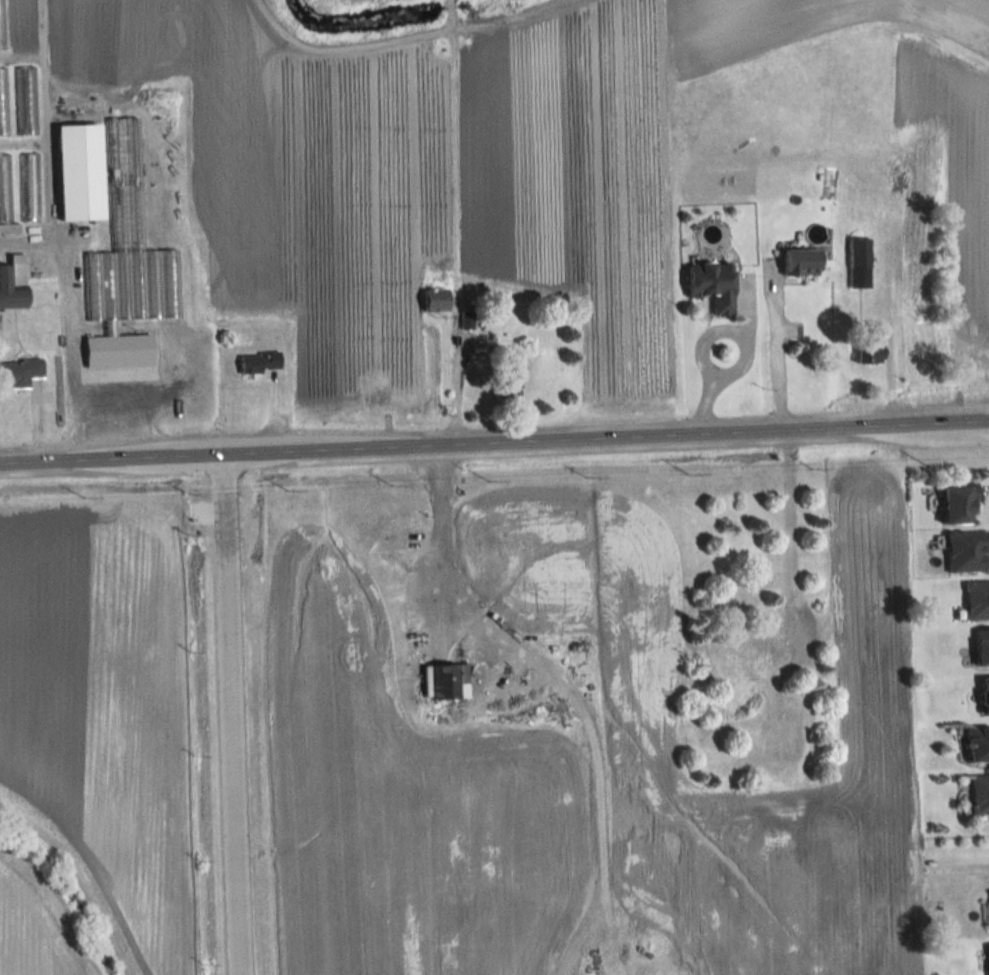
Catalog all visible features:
building: (2, 25)
building: (26, 101)
building: (3, 102)
road: (39, 121)
crop: (491, 163)
building: (80, 171)
building: (28, 187)
building: (5, 189)
building: (802, 261)
building: (860, 262)
building: (127, 264)
building: (13, 282)
building: (713, 284)
building: (436, 299)
road: (69, 319)
road: (889, 329)
road: (777, 346)
building: (870, 346)
road: (745, 350)
building: (260, 361)
building: (19, 372)
road: (455, 374)
building: (510, 378)
road: (494, 440)
building: (954, 502)
road: (444, 540)
building: (963, 550)
building: (975, 598)
building: (981, 645)
building: (741, 658)
building: (450, 680)
building: (983, 695)
crop: (102, 707)
road: (229, 714)
crop: (636, 721)
building: (977, 743)
building: (978, 793)
crop: (409, 803)
road: (954, 834)
road: (957, 850)
road: (955, 871)
crop: (32, 931)
building: (988, 956)

